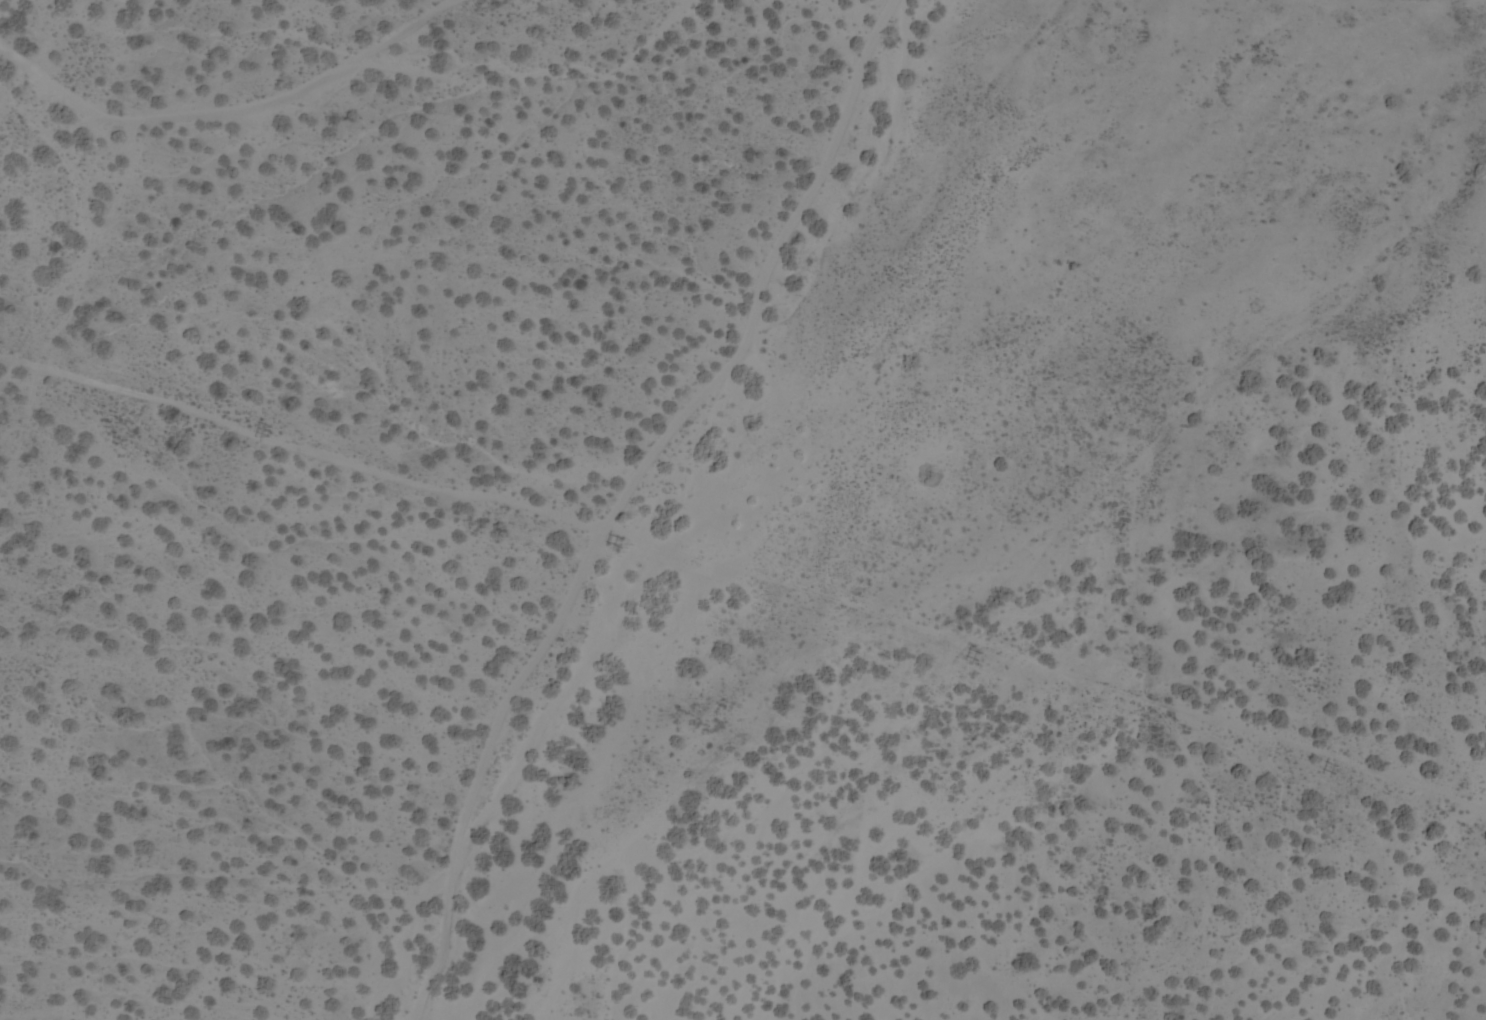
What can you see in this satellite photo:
power tower: (2, 347)
power tower: (270, 432)
road: (697, 510)
power tower: (622, 542)
power tower: (981, 656)
power tower: (1337, 769)

